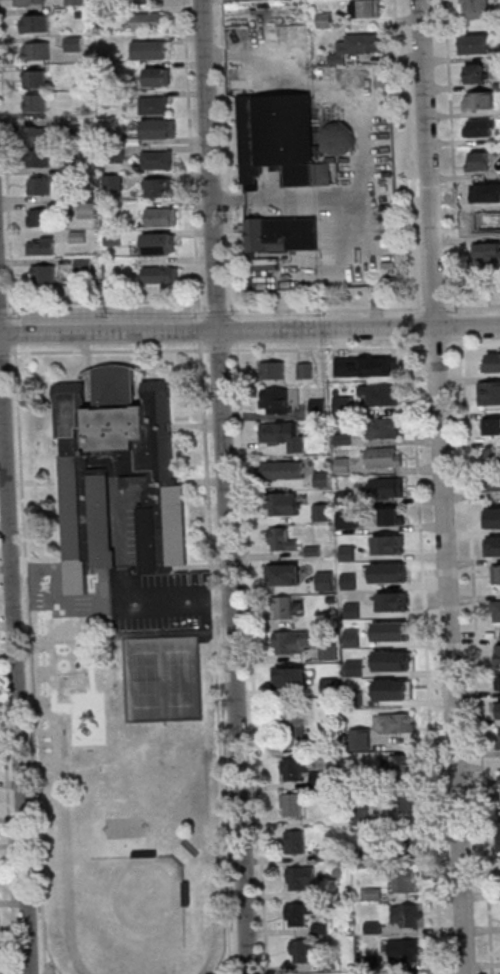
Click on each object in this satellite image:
building: (148, 1)
building: (31, 2)
building: (76, 2)
building: (366, 8)
building: (475, 9)
building: (150, 20)
building: (325, 20)
building: (36, 23)
building: (74, 43)
building: (475, 44)
building: (357, 46)
building: (150, 49)
building: (37, 50)
building: (476, 73)
building: (159, 76)
building: (35, 78)
building: (477, 101)
building: (36, 102)
building: (155, 104)
building: (159, 128)
building: (480, 129)
building: (41, 135)
building: (279, 137)
building: (337, 137)
road: (191, 150)
road: (412, 156)
road: (452, 157)
building: (40, 158)
road: (229, 158)
building: (158, 159)
building: (480, 160)
road: (7, 167)
building: (114, 183)
building: (40, 185)
building: (159, 187)
building: (88, 210)
building: (161, 216)
building: (40, 217)
building: (485, 219)
building: (283, 233)
building: (159, 243)
building: (41, 245)
building: (486, 253)
building: (84, 265)
building: (43, 274)
building: (162, 275)
road: (103, 301)
road: (472, 306)
road: (326, 310)
road: (250, 331)
road: (473, 343)
road: (327, 347)
road: (109, 349)
building: (492, 361)
building: (384, 364)
building: (342, 369)
building: (273, 370)
building: (305, 370)
building: (489, 392)
building: (381, 395)
building: (274, 400)
building: (342, 404)
building: (491, 425)
building: (383, 429)
building: (281, 434)
building: (343, 440)
building: (492, 456)
building: (384, 458)
building: (282, 470)
building: (147, 480)
building: (494, 482)
road: (224, 487)
road: (443, 487)
building: (387, 488)
building: (279, 503)
building: (391, 516)
building: (347, 519)
building: (495, 539)
building: (281, 540)
building: (390, 544)
building: (496, 572)
building: (284, 575)
building: (325, 581)
building: (391, 598)
building: (362, 600)
building: (283, 609)
building: (495, 610)
building: (397, 629)
building: (292, 642)
building: (498, 653)
road: (15, 654)
road: (427, 656)
road: (477, 656)
road: (215, 657)
road: (252, 657)
road: (30, 659)
park: (161, 677)
building: (292, 677)
building: (497, 681)
building: (396, 682)
building: (496, 710)
building: (397, 724)
building: (294, 726)
building: (498, 739)
building: (360, 740)
building: (403, 764)
building: (294, 769)
building: (407, 801)
park: (128, 805)
building: (291, 805)
road: (7, 807)
park: (126, 826)
building: (295, 842)
building: (300, 878)
building: (406, 881)
park: (151, 888)
building: (299, 914)
building: (406, 916)
building: (0, 949)
building: (403, 950)
building: (302, 952)

